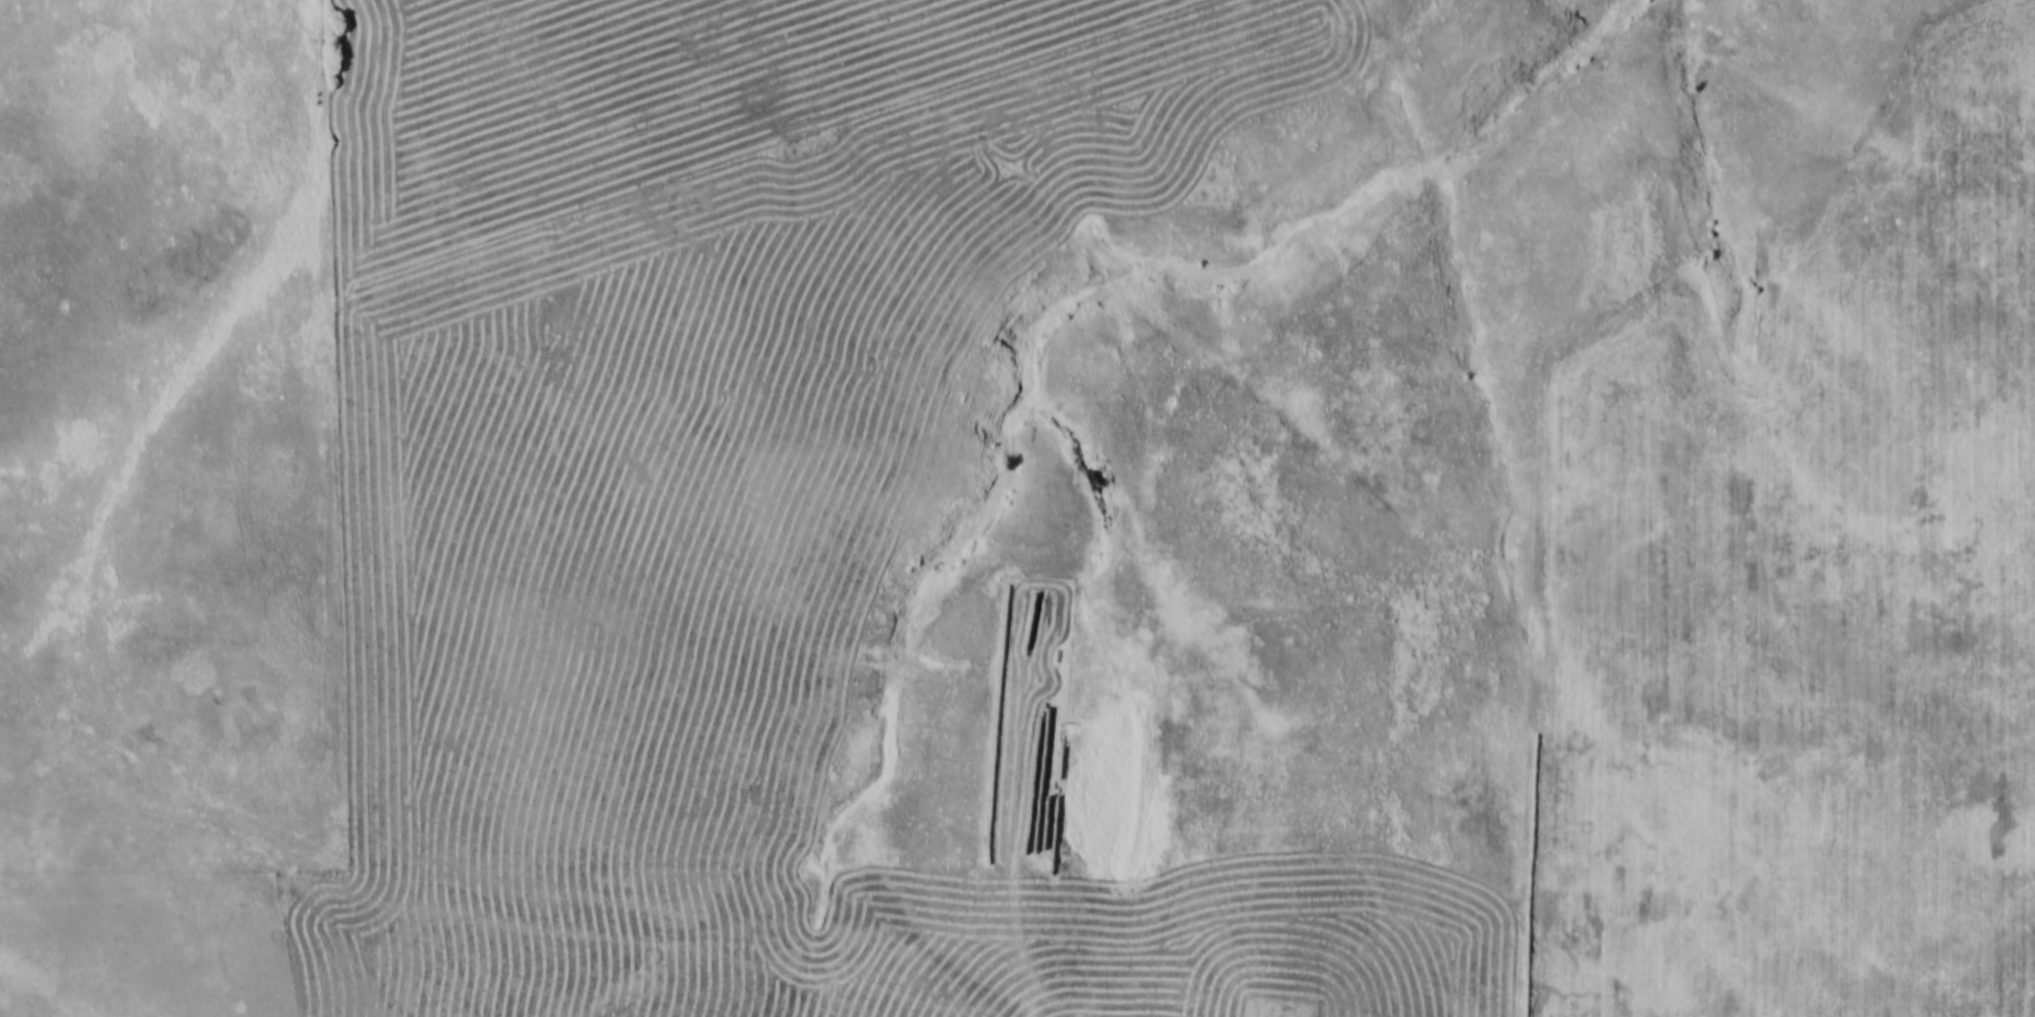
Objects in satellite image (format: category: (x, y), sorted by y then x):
road: (728, 659)
road: (218, 790)
building: (1042, 856)

